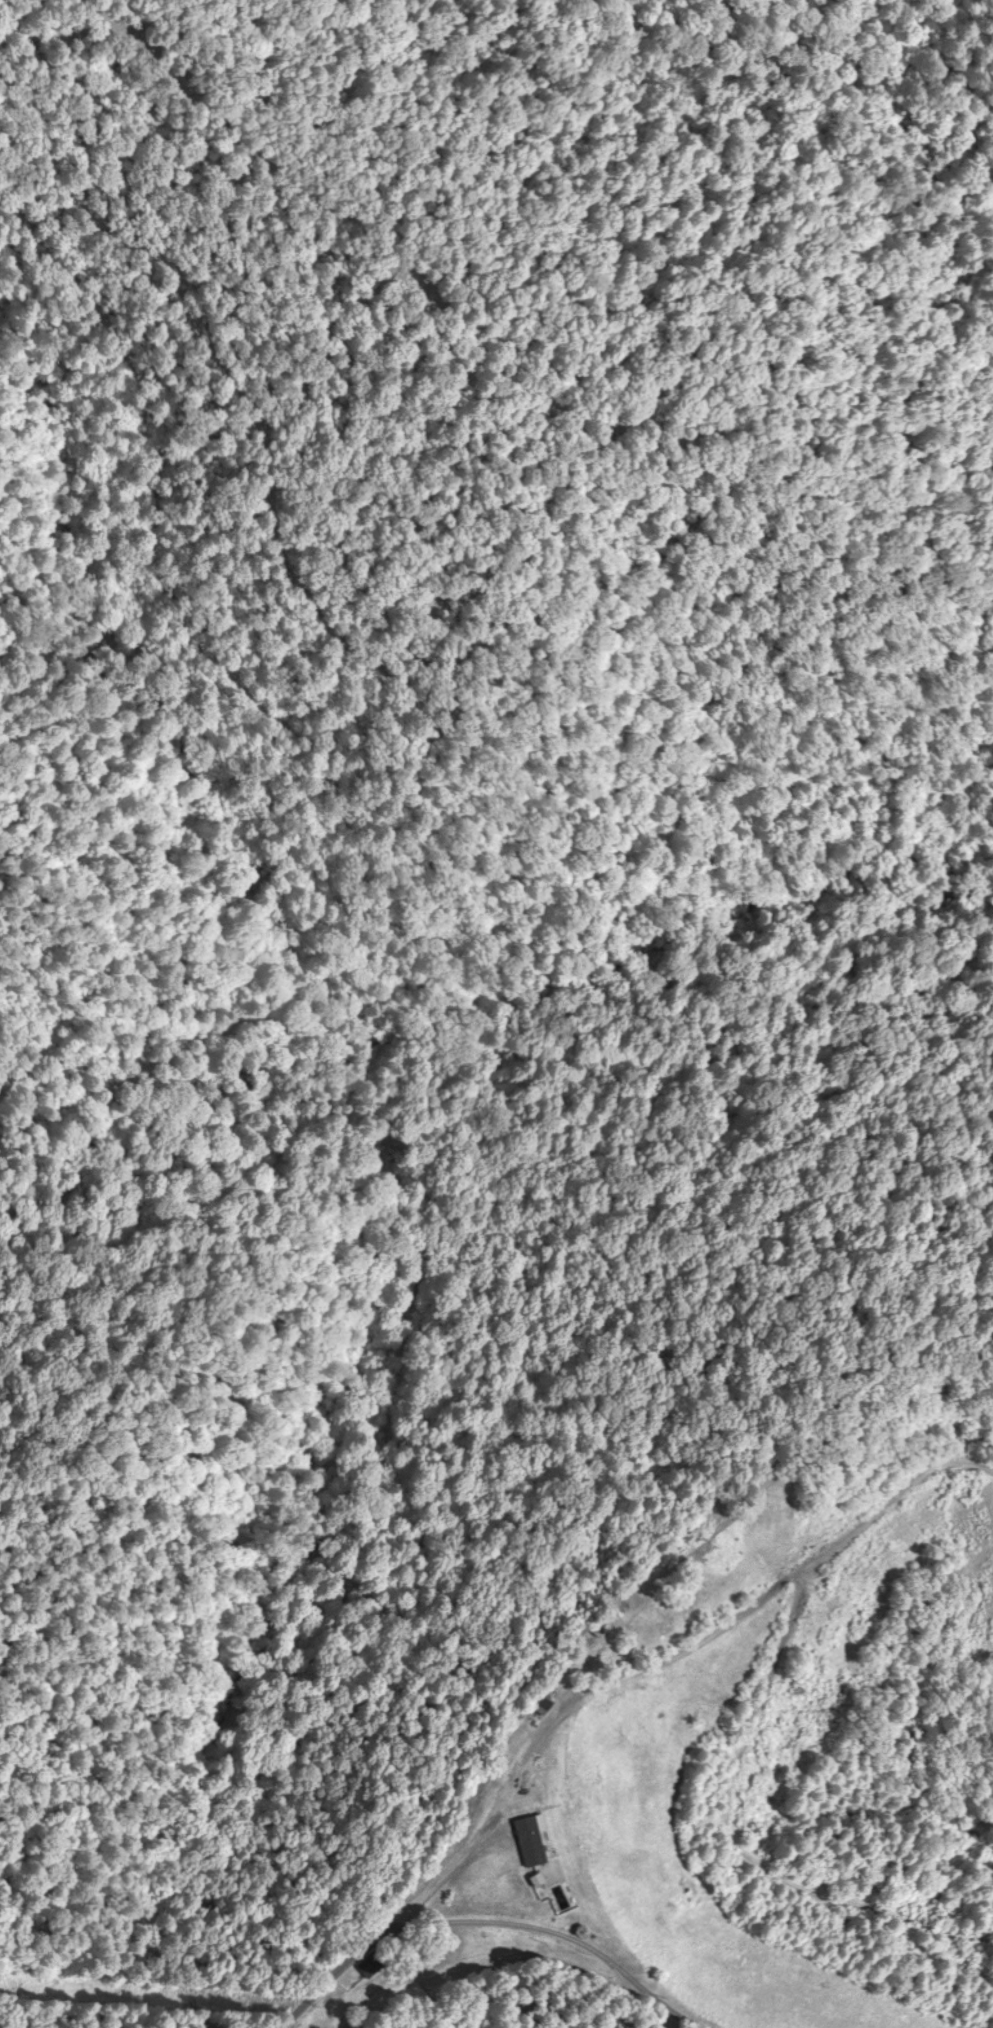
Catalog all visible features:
road: (529, 297)
building: (541, 1706)
building: (532, 1791)
building: (503, 1822)
road: (519, 1836)
road: (506, 1931)

